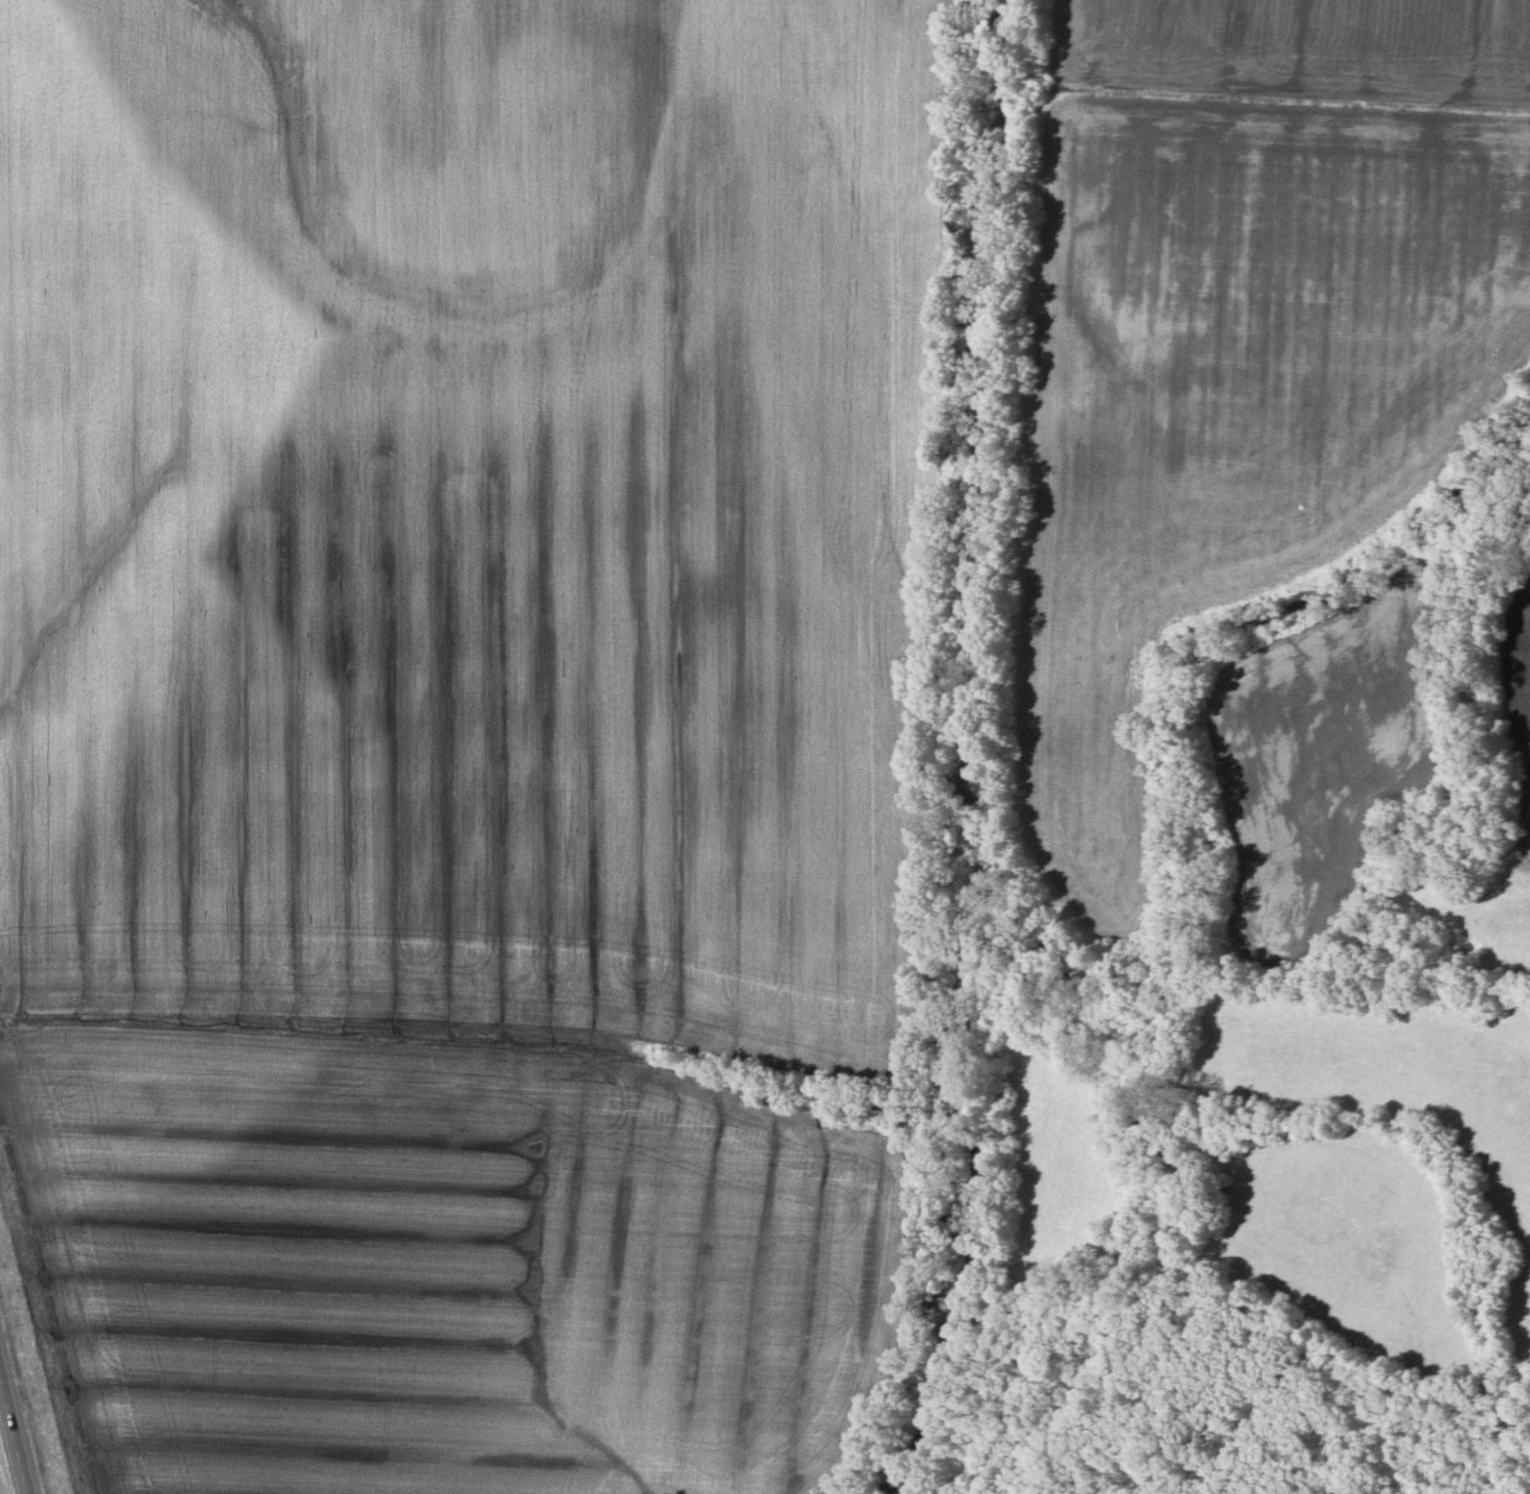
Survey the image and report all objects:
crop: (1299, 46)
crop: (1225, 408)
crop: (464, 512)
crop: (1321, 754)
crop: (441, 1261)
road: (17, 1419)

